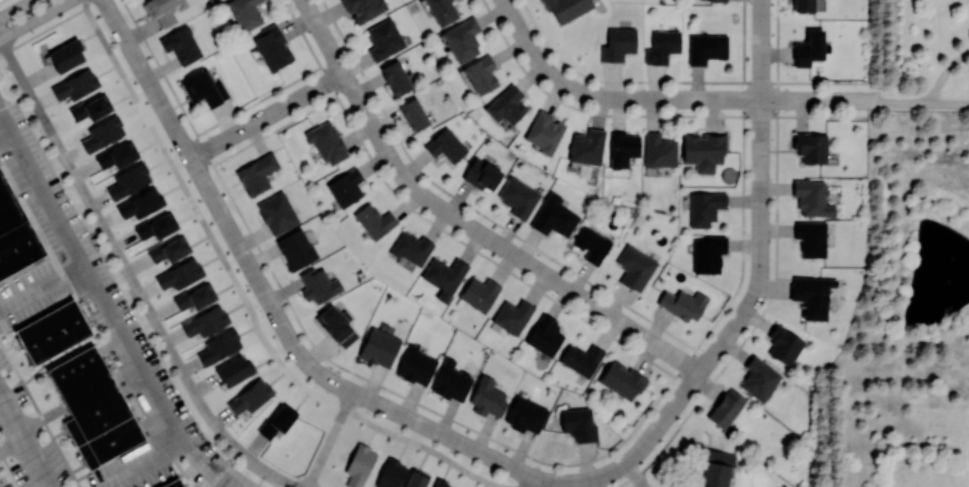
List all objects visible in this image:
building: (717, 0)
building: (804, 5)
building: (567, 7)
building: (364, 8)
road: (16, 9)
building: (161, 10)
building: (442, 11)
building: (244, 13)
road: (35, 19)
building: (384, 38)
building: (462, 38)
building: (618, 43)
building: (181, 44)
building: (662, 45)
building: (272, 47)
building: (706, 47)
building: (809, 48)
road: (535, 54)
building: (66, 55)
building: (481, 73)
road: (945, 73)
building: (396, 77)
building: (75, 84)
building: (201, 88)
road: (729, 99)
road: (904, 101)
road: (950, 102)
building: (507, 104)
building: (91, 108)
building: (414, 114)
road: (265, 116)
building: (544, 132)
building: (102, 133)
building: (326, 142)
building: (446, 145)
building: (587, 146)
building: (811, 146)
building: (622, 148)
building: (658, 150)
building: (704, 150)
road: (761, 150)
building: (117, 154)
building: (482, 173)
building: (256, 174)
building: (128, 180)
building: (346, 187)
building: (518, 196)
building: (812, 197)
building: (141, 203)
building: (705, 207)
building: (277, 213)
building: (554, 216)
building: (374, 220)
road: (461, 222)
building: (157, 226)
building: (16, 236)
building: (811, 238)
building: (591, 244)
building: (411, 247)
building: (169, 249)
building: (296, 249)
building: (708, 253)
park: (294, 254)
building: (635, 267)
building: (180, 274)
building: (444, 276)
road: (132, 278)
road: (41, 283)
building: (318, 284)
road: (243, 293)
building: (479, 293)
road: (264, 294)
building: (812, 295)
building: (195, 297)
building: (683, 303)
road: (109, 310)
building: (512, 315)
building: (206, 321)
building: (336, 325)
building: (51, 334)
building: (544, 335)
building: (784, 344)
building: (219, 346)
building: (379, 347)
building: (581, 358)
building: (416, 365)
building: (235, 369)
building: (759, 378)
building: (622, 379)
building: (451, 380)
building: (251, 396)
building: (487, 397)
building: (726, 407)
building: (93, 410)
building: (525, 414)
building: (277, 420)
road: (660, 421)
building: (578, 424)
road: (330, 439)
road: (24, 441)
road: (143, 464)
building: (359, 464)
building: (715, 469)
building: (390, 474)
road: (634, 475)
building: (416, 478)
road: (526, 482)
road: (531, 482)
road: (535, 482)
building: (440, 483)
road: (1, 484)
building: (171, 484)

